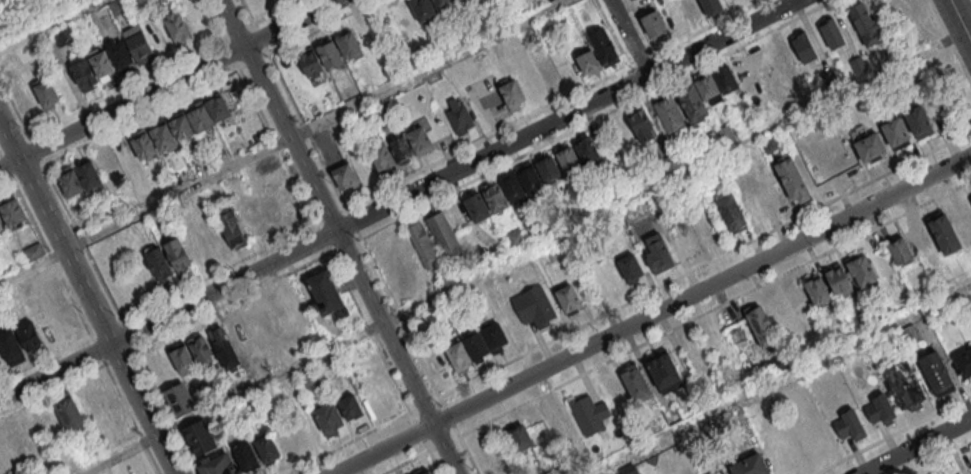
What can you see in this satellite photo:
building: (547, 0)
building: (442, 3)
building: (118, 6)
building: (712, 7)
building: (422, 9)
building: (679, 13)
road: (208, 20)
building: (653, 23)
building: (865, 23)
road: (959, 23)
road: (48, 24)
building: (177, 27)
building: (831, 33)
building: (366, 34)
building: (62, 35)
road: (627, 37)
road: (969, 38)
building: (348, 44)
building: (138, 45)
building: (802, 46)
building: (603, 47)
building: (778, 52)
building: (329, 53)
building: (119, 54)
building: (100, 63)
building: (311, 63)
building: (588, 63)
building: (83, 73)
building: (549, 73)
building: (746, 73)
building: (725, 79)
road: (167, 83)
building: (707, 86)
road: (123, 89)
building: (46, 93)
building: (511, 94)
building: (26, 100)
building: (692, 101)
building: (218, 107)
building: (670, 114)
road: (139, 115)
building: (458, 116)
building: (200, 117)
building: (918, 122)
building: (642, 125)
building: (181, 127)
building: (895, 133)
building: (622, 134)
building: (162, 136)
building: (419, 139)
road: (281, 141)
road: (276, 145)
building: (143, 146)
building: (869, 146)
building: (401, 147)
building: (586, 150)
building: (382, 156)
building: (567, 158)
building: (841, 159)
road: (40, 162)
building: (547, 167)
building: (89, 175)
building: (345, 176)
building: (528, 177)
building: (792, 181)
building: (70, 183)
road: (389, 184)
building: (511, 184)
building: (211, 193)
building: (970, 195)
building: (494, 198)
road: (398, 199)
building: (287, 202)
road: (344, 207)
building: (476, 207)
building: (11, 210)
building: (730, 212)
building: (1, 227)
building: (231, 228)
building: (442, 233)
building: (943, 233)
road: (336, 236)
building: (515, 236)
road: (322, 237)
building: (920, 239)
road: (81, 242)
building: (423, 243)
road: (345, 245)
building: (492, 249)
building: (32, 250)
building: (899, 250)
road: (46, 251)
road: (522, 253)
building: (659, 254)
building: (178, 255)
building: (158, 264)
building: (629, 267)
building: (862, 270)
road: (217, 272)
building: (610, 278)
building: (838, 279)
building: (324, 291)
building: (817, 291)
building: (567, 297)
road: (88, 299)
road: (232, 301)
building: (533, 305)
road: (714, 307)
road: (652, 314)
building: (761, 326)
road: (104, 328)
road: (127, 334)
building: (909, 334)
building: (28, 335)
building: (495, 338)
building: (477, 346)
building: (10, 347)
building: (225, 348)
road: (96, 350)
building: (201, 351)
building: (457, 355)
road: (119, 356)
road: (44, 358)
building: (182, 359)
building: (963, 363)
road: (105, 367)
building: (663, 370)
building: (935, 370)
building: (310, 378)
road: (782, 379)
building: (634, 382)
building: (904, 383)
building: (613, 390)
building: (179, 399)
building: (349, 406)
building: (879, 409)
building: (588, 413)
building: (70, 415)
building: (327, 417)
building: (559, 422)
building: (848, 425)
building: (305, 427)
road: (892, 434)
building: (199, 437)
building: (520, 437)
road: (442, 442)
road: (913, 445)
building: (267, 447)
building: (245, 456)
road: (415, 456)
road: (938, 457)
building: (218, 465)
building: (750, 465)
building: (628, 469)
building: (427, 472)
building: (721, 472)
building: (970, 473)
building: (970, 473)

